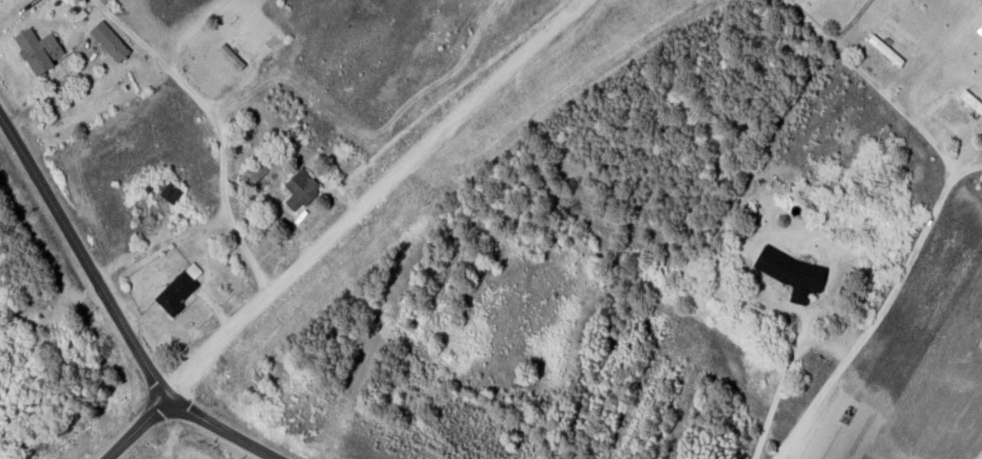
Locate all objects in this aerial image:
building: (109, 40)
building: (38, 49)
building: (981, 73)
building: (971, 100)
road: (449, 139)
building: (253, 172)
building: (300, 188)
building: (170, 192)
road: (83, 257)
building: (792, 273)
building: (178, 288)
road: (879, 309)
road: (220, 348)
road: (136, 429)
road: (222, 429)

